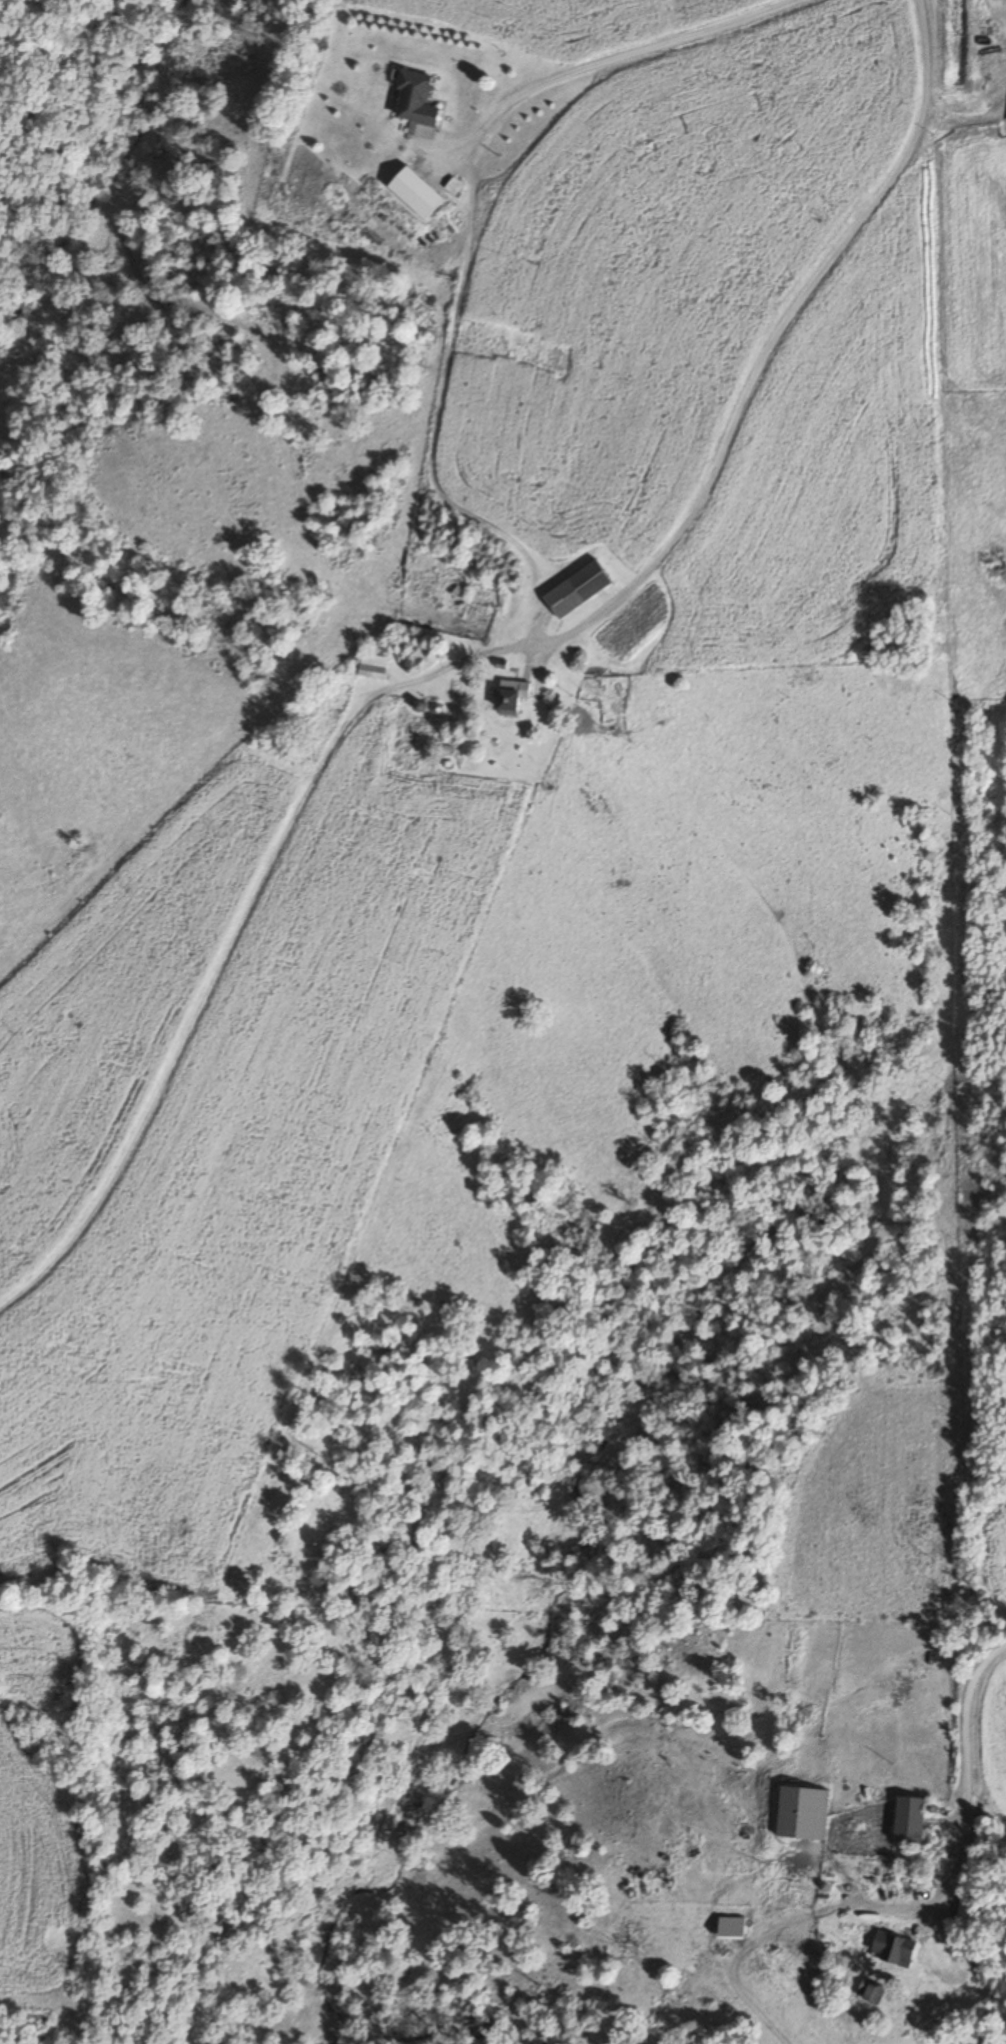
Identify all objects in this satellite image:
road: (579, 59)
building: (412, 97)
building: (412, 192)
road: (764, 351)
building: (574, 589)
building: (371, 665)
building: (515, 694)
road: (967, 1772)
building: (799, 1811)
building: (906, 1818)
building: (795, 1893)
building: (889, 1947)
building: (867, 1991)

